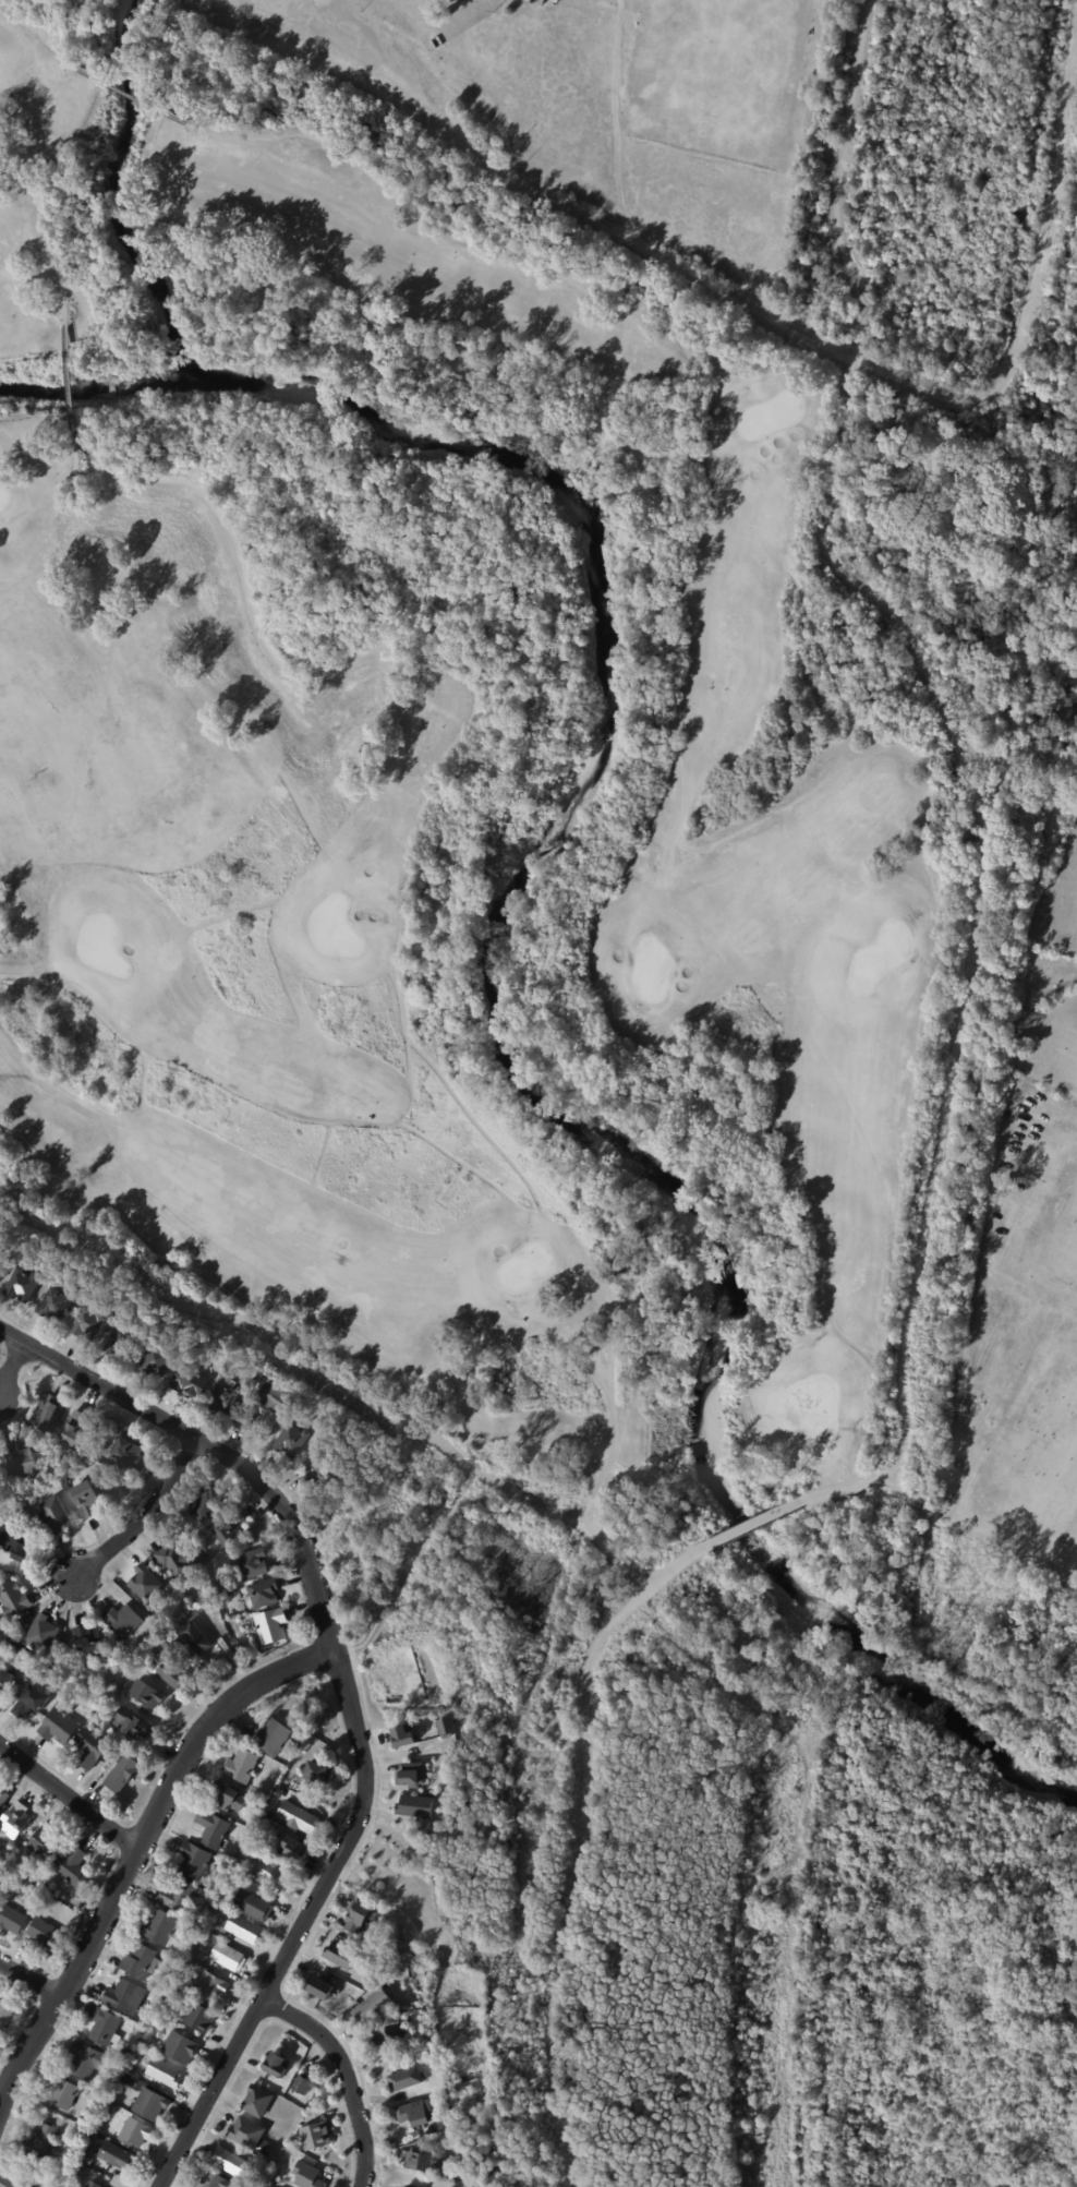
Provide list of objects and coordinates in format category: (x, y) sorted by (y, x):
road: (38, 34)
park: (715, 65)
park: (572, 86)
road: (132, 96)
road: (495, 165)
road: (48, 236)
road: (1032, 300)
road: (71, 386)
road: (97, 454)
road: (838, 477)
road: (686, 589)
road: (818, 632)
road: (850, 711)
park: (443, 792)
road: (409, 842)
park: (1057, 902)
road: (16, 971)
park: (1049, 1046)
road: (44, 1084)
road: (942, 1138)
park: (1061, 1236)
building: (1, 1274)
building: (22, 1285)
building: (55, 1305)
building: (89, 1322)
building: (124, 1342)
building: (233, 1357)
road: (462, 1357)
building: (157, 1361)
road: (11, 1365)
building: (190, 1382)
building: (253, 1382)
road: (323, 1396)
building: (223, 1397)
building: (275, 1398)
building: (45, 1413)
building: (245, 1421)
building: (75, 1430)
building: (291, 1441)
park: (1034, 1447)
building: (129, 1453)
building: (20, 1461)
road: (893, 1463)
building: (318, 1470)
building: (86, 1499)
building: (206, 1505)
road: (378, 1507)
road: (147, 1513)
building: (52, 1515)
building: (19, 1518)
road: (757, 1527)
building: (229, 1531)
building: (13, 1543)
building: (174, 1561)
building: (251, 1564)
building: (145, 1584)
building: (221, 1586)
building: (230, 1591)
building: (263, 1594)
building: (14, 1599)
building: (206, 1601)
building: (26, 1620)
building: (123, 1621)
building: (270, 1626)
building: (41, 1635)
building: (195, 1638)
building: (88, 1642)
building: (8, 1643)
building: (166, 1643)
building: (99, 1660)
building: (167, 1673)
building: (8, 1685)
building: (147, 1695)
road: (349, 1698)
building: (31, 1704)
building: (449, 1723)
building: (131, 1725)
building: (58, 1728)
building: (404, 1735)
building: (275, 1737)
building: (90, 1750)
building: (241, 1765)
building: (317, 1773)
building: (412, 1774)
building: (122, 1776)
road: (69, 1795)
building: (230, 1797)
building: (3, 1798)
building: (416, 1806)
building: (269, 1811)
building: (298, 1816)
building: (16, 1823)
building: (262, 1823)
building: (213, 1827)
road: (573, 1839)
building: (46, 1846)
building: (294, 1848)
road: (137, 1850)
building: (254, 1852)
road: (795, 1859)
building: (194, 1860)
building: (255, 1867)
building: (74, 1870)
building: (274, 1874)
building: (251, 1877)
building: (0, 1896)
building: (180, 1896)
building: (36, 1904)
building: (253, 1904)
building: (216, 1906)
building: (356, 1915)
building: (11, 1919)
building: (191, 1924)
building: (159, 1925)
building: (244, 1927)
building: (46, 1936)
building: (206, 1936)
building: (341, 1955)
building: (229, 1957)
building: (141, 1961)
building: (378, 1966)
building: (183, 1967)
road: (32, 1979)
building: (211, 1986)
building: (319, 1987)
building: (124, 1996)
building: (350, 2002)
building: (372, 2006)
building: (404, 2006)
building: (4, 2017)
building: (199, 2017)
building: (409, 2018)
building: (102, 2024)
building: (134, 2035)
building: (389, 2035)
building: (180, 2046)
building: (86, 2059)
building: (432, 2063)
building: (277, 2065)
building: (130, 2067)
building: (165, 2072)
road: (347, 2074)
building: (404, 2079)
building: (106, 2083)
building: (303, 2086)
building: (62, 2092)
building: (257, 2100)
building: (149, 2103)
building: (110, 2107)
building: (414, 2113)
building: (448, 2123)
building: (135, 2132)
building: (246, 2132)
building: (315, 2135)
building: (41, 2141)
building: (118, 2156)
building: (87, 2160)
building: (419, 2161)
building: (232, 2163)
building: (83, 2168)
building: (439, 2172)
building: (448, 2172)
building: (307, 2175)
road: (13, 2178)
building: (213, 2179)
building: (93, 2184)
building: (411, 2185)
building: (256, 2186)

